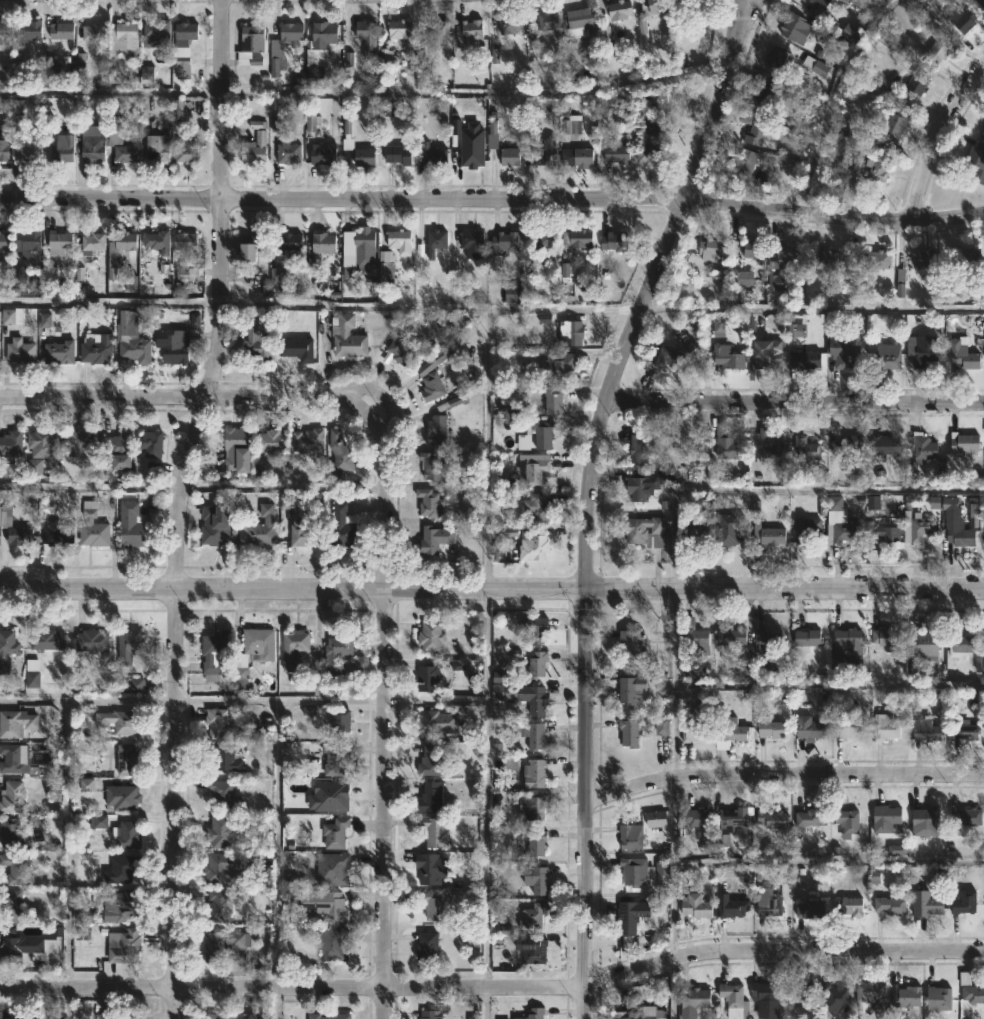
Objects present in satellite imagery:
building: (688, 2)
building: (980, 3)
building: (820, 4)
building: (657, 5)
building: (619, 9)
road: (745, 13)
building: (547, 20)
building: (962, 20)
building: (578, 22)
building: (509, 23)
building: (399, 28)
building: (438, 28)
building: (30, 29)
building: (470, 29)
building: (796, 29)
building: (3, 30)
building: (60, 30)
building: (91, 31)
building: (289, 31)
building: (155, 33)
building: (364, 34)
building: (252, 37)
building: (120, 44)
building: (318, 48)
building: (182, 49)
building: (938, 50)
building: (776, 55)
building: (276, 59)
building: (918, 82)
road: (111, 91)
road: (831, 100)
building: (894, 124)
building: (754, 127)
building: (14, 136)
road: (935, 136)
building: (119, 142)
building: (92, 143)
building: (157, 146)
building: (62, 147)
building: (538, 147)
building: (4, 148)
building: (254, 148)
building: (185, 151)
building: (287, 152)
building: (323, 153)
building: (433, 153)
building: (617, 153)
building: (647, 153)
building: (398, 154)
building: (471, 155)
building: (509, 156)
building: (583, 156)
building: (363, 157)
building: (977, 158)
building: (752, 169)
building: (876, 170)
road: (492, 199)
building: (545, 239)
building: (577, 239)
building: (3, 240)
building: (184, 240)
building: (399, 240)
building: (93, 241)
building: (157, 241)
building: (289, 241)
building: (435, 241)
building: (506, 241)
building: (614, 241)
building: (27, 242)
building: (322, 243)
building: (472, 243)
building: (59, 244)
building: (250, 245)
building: (364, 248)
building: (712, 248)
building: (754, 249)
building: (787, 252)
building: (824, 258)
building: (876, 258)
building: (925, 258)
building: (962, 261)
building: (111, 264)
building: (385, 273)
building: (186, 275)
building: (513, 291)
road: (111, 302)
road: (432, 306)
road: (813, 307)
building: (127, 322)
building: (571, 332)
building: (347, 337)
building: (256, 342)
building: (173, 348)
building: (296, 348)
building: (135, 349)
building: (20, 350)
building: (402, 350)
building: (925, 350)
building: (58, 351)
building: (95, 352)
building: (766, 353)
building: (843, 353)
building: (963, 353)
building: (667, 357)
building: (728, 358)
building: (885, 358)
building: (805, 360)
building: (563, 365)
building: (432, 386)
road: (205, 397)
building: (552, 400)
road: (794, 403)
building: (437, 430)
building: (543, 434)
building: (642, 441)
building: (964, 442)
building: (11, 443)
building: (40, 443)
building: (78, 443)
building: (150, 443)
building: (270, 443)
building: (731, 444)
building: (765, 444)
building: (847, 444)
building: (886, 444)
building: (309, 446)
building: (806, 448)
building: (117, 449)
building: (924, 449)
building: (235, 450)
building: (337, 454)
building: (431, 466)
building: (533, 467)
building: (639, 485)
road: (283, 487)
road: (91, 488)
road: (782, 490)
road: (584, 496)
building: (428, 502)
road: (179, 506)
building: (536, 508)
building: (840, 524)
building: (131, 525)
building: (214, 525)
building: (298, 525)
building: (917, 526)
building: (92, 527)
building: (262, 527)
building: (342, 527)
building: (697, 527)
building: (729, 529)
building: (766, 529)
building: (807, 529)
building: (646, 532)
building: (884, 532)
building: (56, 534)
building: (17, 535)
building: (962, 536)
building: (433, 540)
building: (532, 546)
road: (492, 589)
building: (537, 630)
building: (430, 636)
building: (732, 637)
building: (769, 639)
building: (888, 639)
building: (46, 640)
building: (807, 640)
building: (850, 640)
building: (91, 641)
building: (698, 641)
building: (924, 643)
building: (258, 644)
building: (960, 644)
building: (631, 645)
building: (128, 646)
building: (6, 649)
building: (293, 649)
building: (214, 653)
building: (336, 653)
road: (485, 663)
building: (537, 666)
building: (430, 676)
building: (241, 680)
building: (32, 681)
road: (674, 684)
building: (630, 689)
road: (279, 698)
building: (533, 699)
road: (87, 700)
building: (436, 722)
building: (18, 723)
building: (118, 723)
building: (216, 723)
building: (339, 723)
building: (661, 727)
building: (849, 727)
building: (886, 727)
building: (771, 728)
building: (809, 728)
building: (927, 729)
building: (697, 731)
building: (966, 731)
building: (730, 732)
road: (383, 733)
building: (629, 733)
building: (535, 737)
building: (222, 758)
building: (24, 759)
building: (336, 759)
building: (127, 760)
building: (430, 761)
building: (535, 773)
road: (781, 777)
building: (223, 794)
building: (525, 795)
building: (333, 796)
building: (12, 797)
building: (121, 798)
building: (430, 798)
building: (536, 807)
building: (965, 816)
building: (733, 818)
building: (772, 818)
building: (811, 818)
building: (656, 819)
building: (885, 819)
building: (694, 821)
building: (847, 822)
building: (926, 822)
building: (435, 831)
building: (219, 833)
building: (11, 834)
building: (335, 834)
building: (127, 836)
building: (631, 836)
road: (67, 844)
road: (277, 844)
building: (536, 845)
building: (219, 867)
building: (120, 868)
building: (336, 869)
building: (430, 869)
building: (16, 870)
road: (672, 870)
building: (641, 871)
building: (536, 880)
building: (774, 897)
building: (964, 903)
building: (926, 904)
building: (889, 905)
building: (10, 906)
building: (218, 906)
building: (332, 906)
building: (434, 906)
building: (696, 907)
building: (731, 907)
building: (122, 908)
building: (849, 908)
building: (810, 909)
building: (629, 916)
building: (532, 917)
building: (332, 944)
building: (222, 946)
building: (123, 947)
building: (427, 947)
building: (532, 948)
building: (29, 950)
road: (777, 962)
road: (494, 987)
building: (971, 988)
road: (670, 989)
building: (801, 992)
building: (871, 993)
building: (836, 995)
building: (906, 995)
building: (939, 997)
building: (695, 998)
building: (733, 999)
building: (766, 999)
road: (69, 1004)
road: (276, 1004)
building: (643, 1012)
building: (19, 1013)
building: (533, 1013)
building: (430, 1014)
building: (120, 1015)
building: (330, 1015)
building: (227, 1016)

